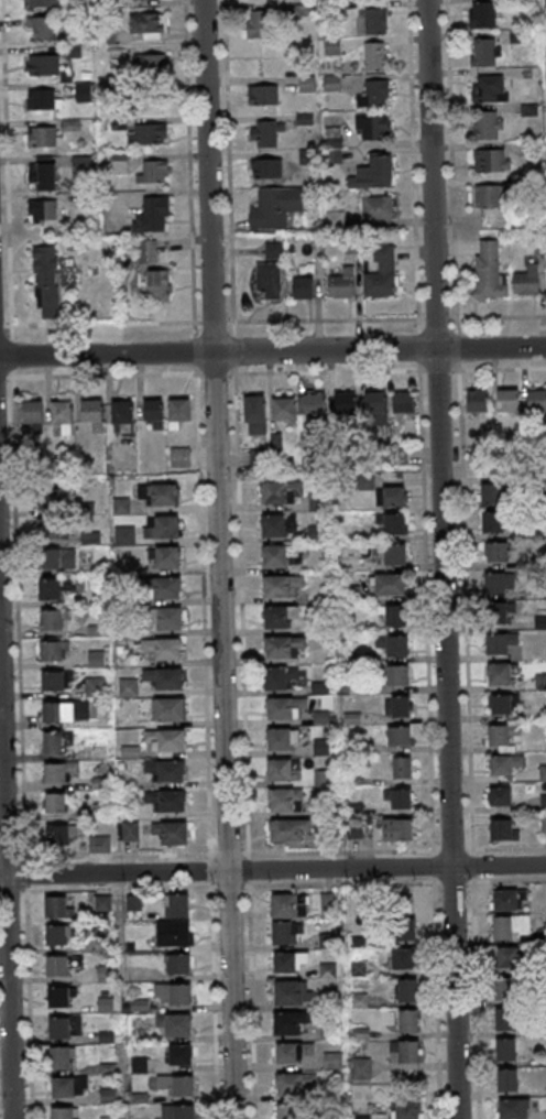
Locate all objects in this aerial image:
building: (41, 3)
building: (482, 15)
building: (375, 20)
building: (262, 23)
building: (149, 24)
building: (43, 28)
building: (485, 52)
building: (375, 55)
building: (43, 64)
building: (151, 66)
building: (491, 87)
building: (84, 91)
building: (263, 94)
building: (375, 94)
building: (44, 98)
building: (488, 124)
building: (373, 127)
building: (148, 132)
building: (265, 132)
building: (45, 137)
building: (491, 160)
building: (266, 167)
building: (155, 172)
building: (41, 173)
building: (374, 173)
building: (489, 196)
building: (276, 207)
building: (378, 208)
building: (42, 210)
building: (153, 215)
building: (146, 251)
building: (272, 271)
building: (490, 272)
building: (382, 273)
building: (527, 281)
building: (47, 282)
building: (342, 283)
building: (159, 285)
building: (303, 287)
road: (273, 351)
building: (537, 399)
building: (507, 400)
building: (478, 401)
building: (346, 403)
building: (375, 403)
building: (403, 404)
building: (285, 409)
building: (312, 410)
building: (91, 412)
building: (154, 412)
building: (178, 412)
building: (33, 414)
building: (122, 415)
building: (255, 415)
building: (63, 417)
building: (179, 456)
building: (259, 457)
building: (52, 489)
building: (282, 491)
building: (159, 495)
building: (391, 495)
building: (492, 495)
building: (317, 502)
building: (392, 522)
building: (492, 523)
building: (279, 524)
building: (164, 528)
building: (50, 529)
building: (125, 535)
building: (496, 552)
building: (392, 553)
building: (280, 554)
building: (165, 557)
road: (219, 558)
road: (441, 558)
building: (57, 559)
building: (69, 583)
building: (500, 583)
building: (282, 585)
building: (390, 585)
building: (167, 587)
building: (51, 589)
building: (498, 612)
building: (279, 616)
building: (395, 616)
building: (165, 618)
building: (53, 619)
building: (498, 644)
building: (394, 645)
building: (283, 647)
building: (53, 650)
building: (163, 650)
building: (96, 659)
building: (501, 674)
building: (397, 676)
building: (162, 678)
building: (275, 678)
building: (54, 680)
building: (542, 682)
building: (96, 684)
building: (128, 688)
building: (501, 704)
building: (397, 707)
building: (284, 708)
building: (168, 709)
building: (65, 711)
building: (400, 736)
building: (503, 736)
building: (166, 739)
building: (283, 740)
building: (56, 741)
building: (504, 763)
building: (402, 768)
building: (165, 770)
building: (284, 770)
building: (59, 771)
building: (500, 795)
building: (400, 798)
building: (166, 800)
building: (285, 801)
building: (58, 803)
building: (398, 829)
building: (504, 829)
building: (130, 830)
building: (288, 830)
building: (172, 832)
building: (61, 835)
building: (99, 844)
road: (272, 870)
road: (6, 897)
building: (507, 899)
building: (328, 902)
building: (102, 903)
building: (176, 904)
building: (287, 904)
building: (56, 906)
building: (511, 926)
building: (404, 927)
building: (285, 932)
building: (173, 933)
building: (56, 934)
building: (404, 958)
building: (290, 960)
building: (511, 962)
building: (178, 964)
building: (57, 965)
building: (359, 969)
building: (328, 970)
building: (106, 974)
building: (406, 989)
building: (506, 991)
building: (293, 992)
building: (173, 995)
building: (61, 996)
building: (360, 1000)
building: (506, 1019)
building: (406, 1020)
building: (288, 1022)
building: (175, 1024)
building: (65, 1026)
building: (328, 1032)
building: (509, 1049)
building: (406, 1050)
building: (293, 1052)
building: (179, 1054)
building: (61, 1057)
building: (334, 1060)
building: (360, 1068)
building: (507, 1079)
building: (294, 1083)
building: (178, 1084)
building: (66, 1085)
building: (515, 1108)
building: (406, 1110)
building: (177, 1111)
building: (290, 1111)
building: (64, 1112)
building: (370, 1116)
building: (108, 1118)

